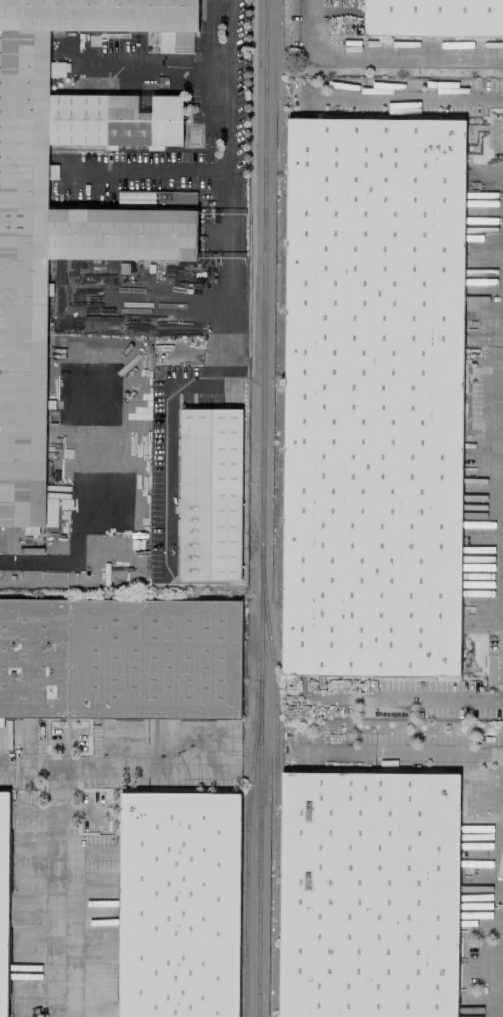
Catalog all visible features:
building: (432, 17)
road: (381, 56)
road: (401, 99)
road: (227, 158)
building: (134, 197)
building: (69, 208)
building: (374, 385)
building: (243, 480)
building: (210, 493)
road: (90, 506)
railway: (259, 508)
building: (120, 656)
road: (395, 700)
railway: (253, 737)
road: (418, 754)
road: (77, 764)
railway: (274, 794)
road: (56, 890)
building: (367, 890)
railway: (244, 895)
building: (3, 896)
building: (180, 899)

